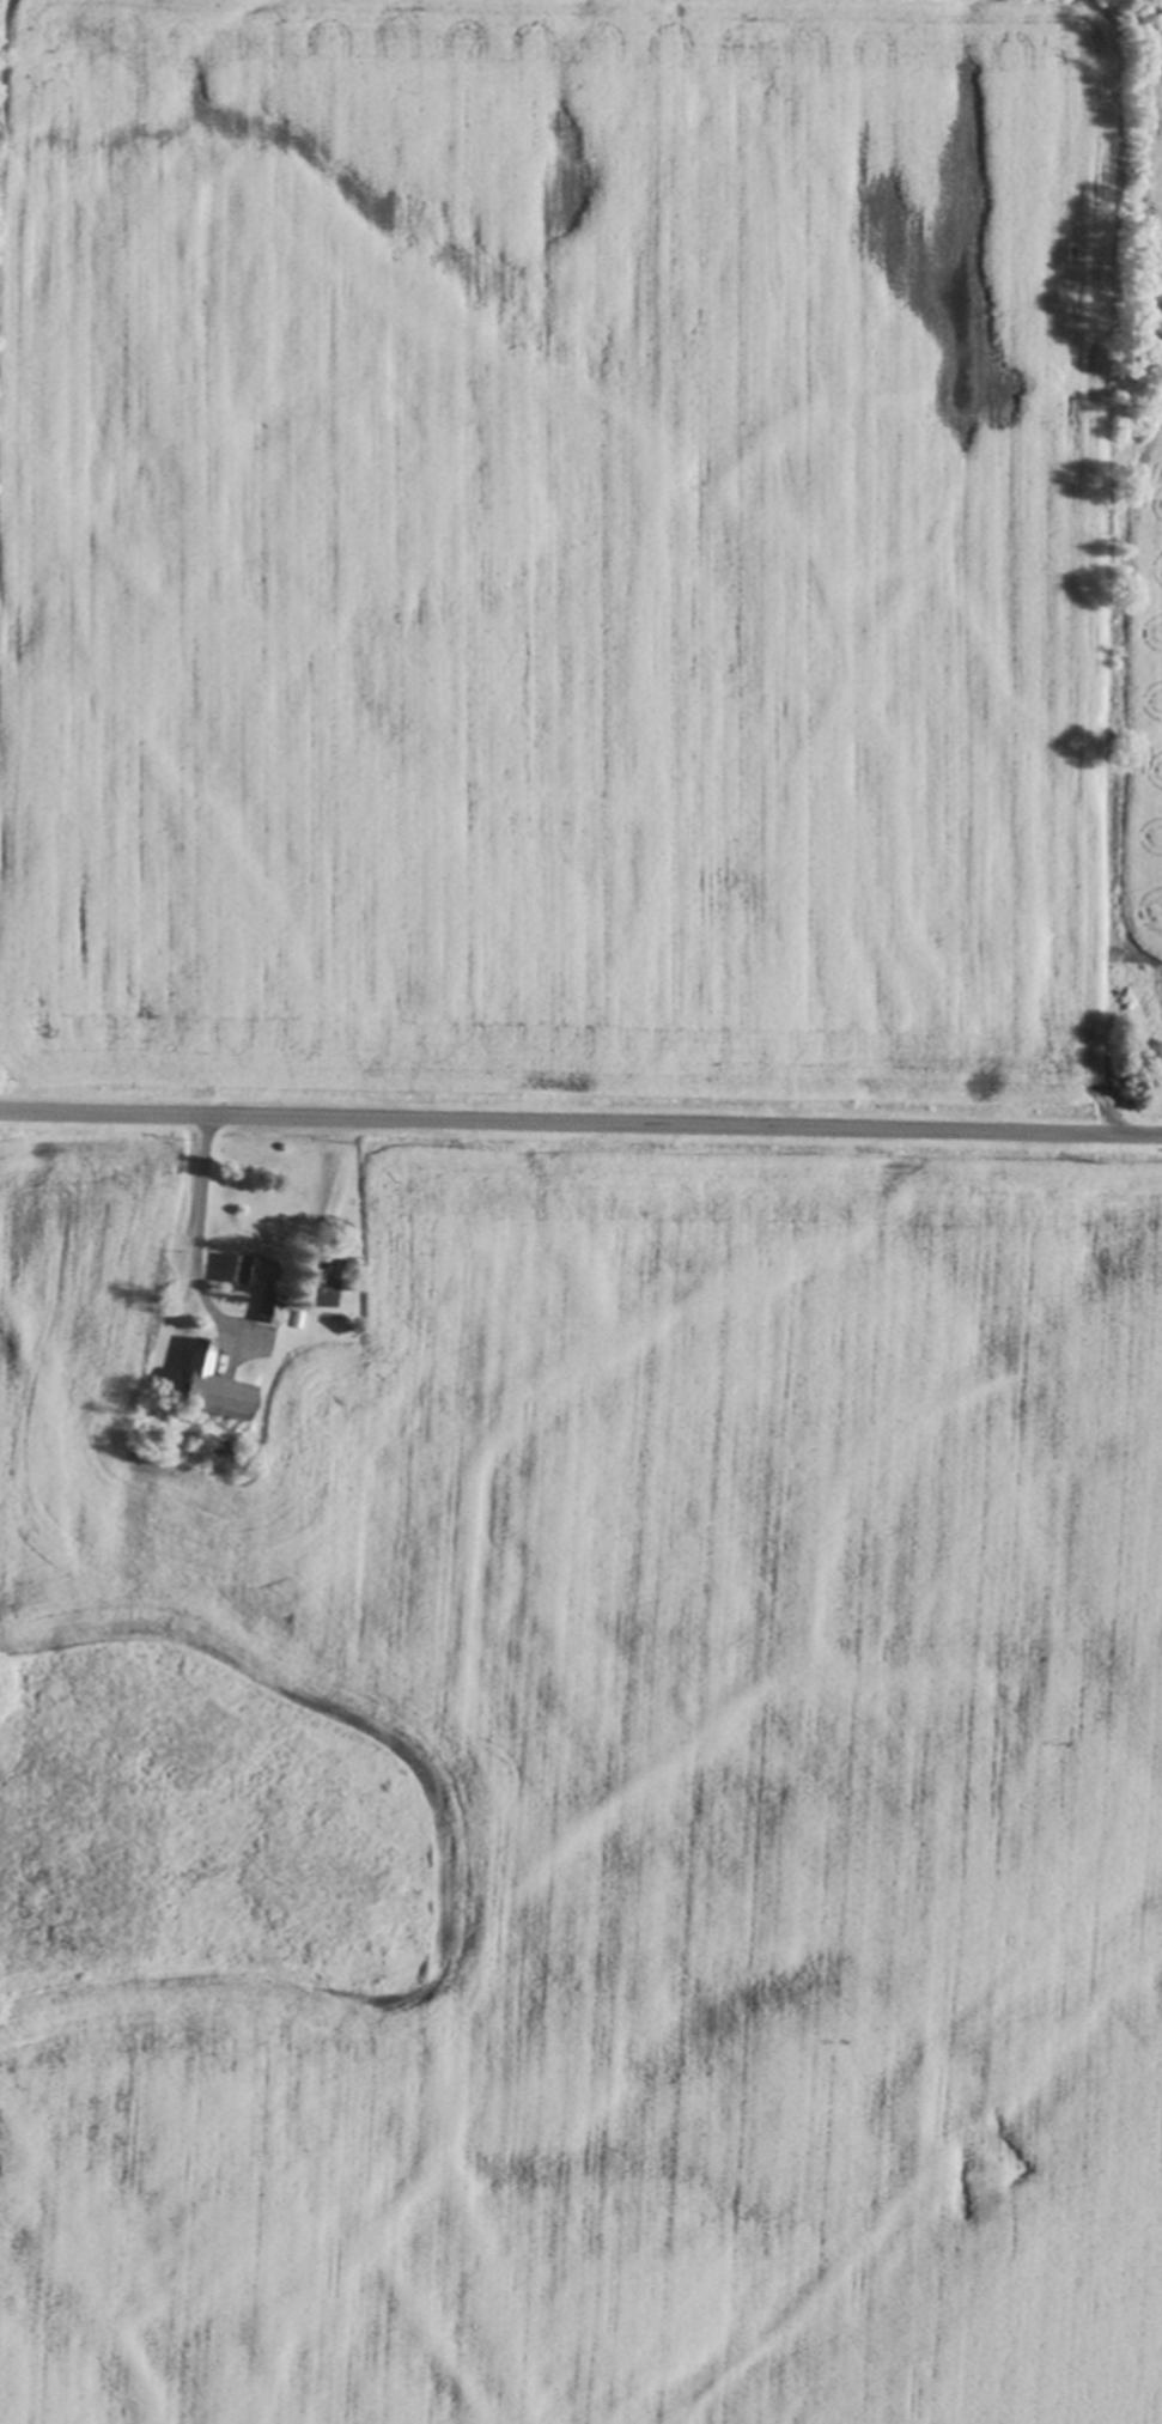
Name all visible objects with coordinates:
road: (580, 1124)
road: (193, 1231)
building: (235, 1271)
building: (263, 1308)
building: (212, 1392)

